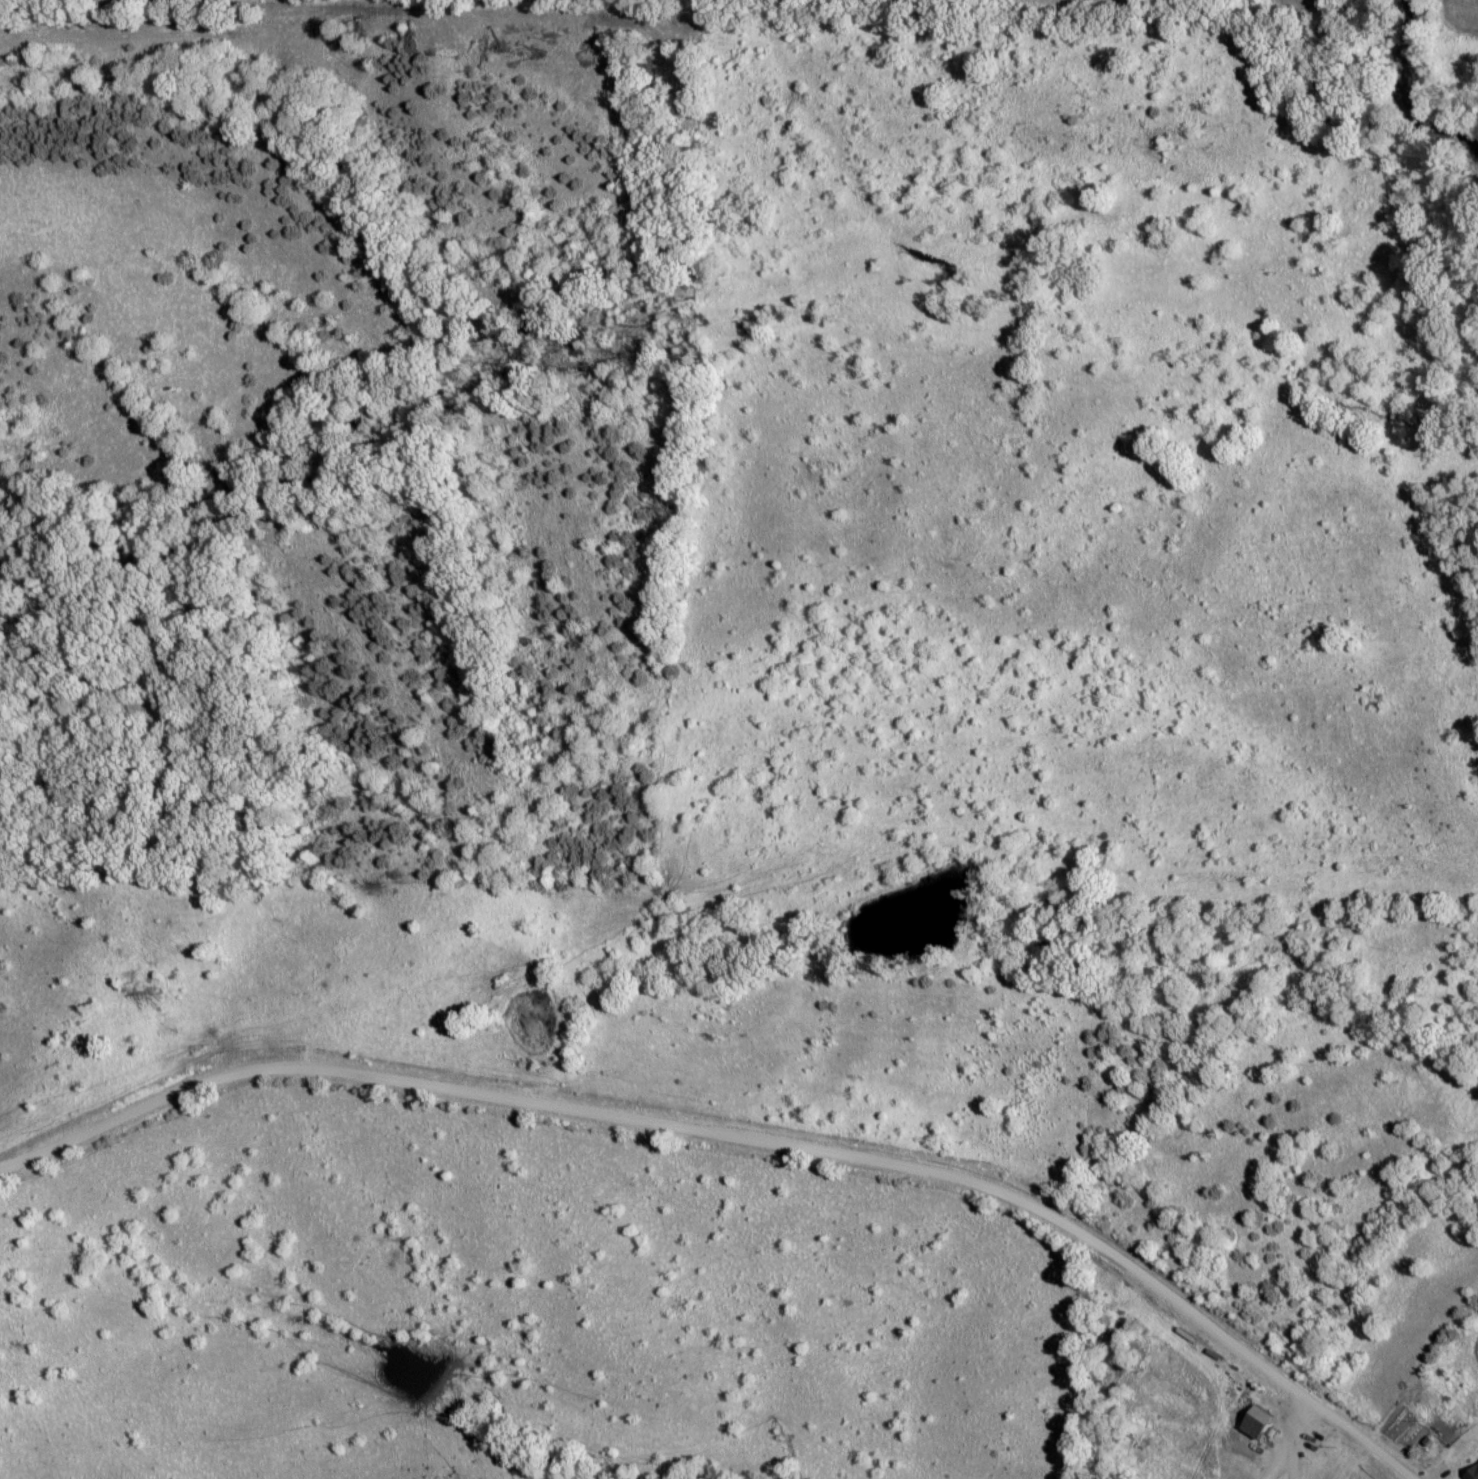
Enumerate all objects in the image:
road: (736, 1141)
building: (1256, 1422)
building: (1472, 1473)

